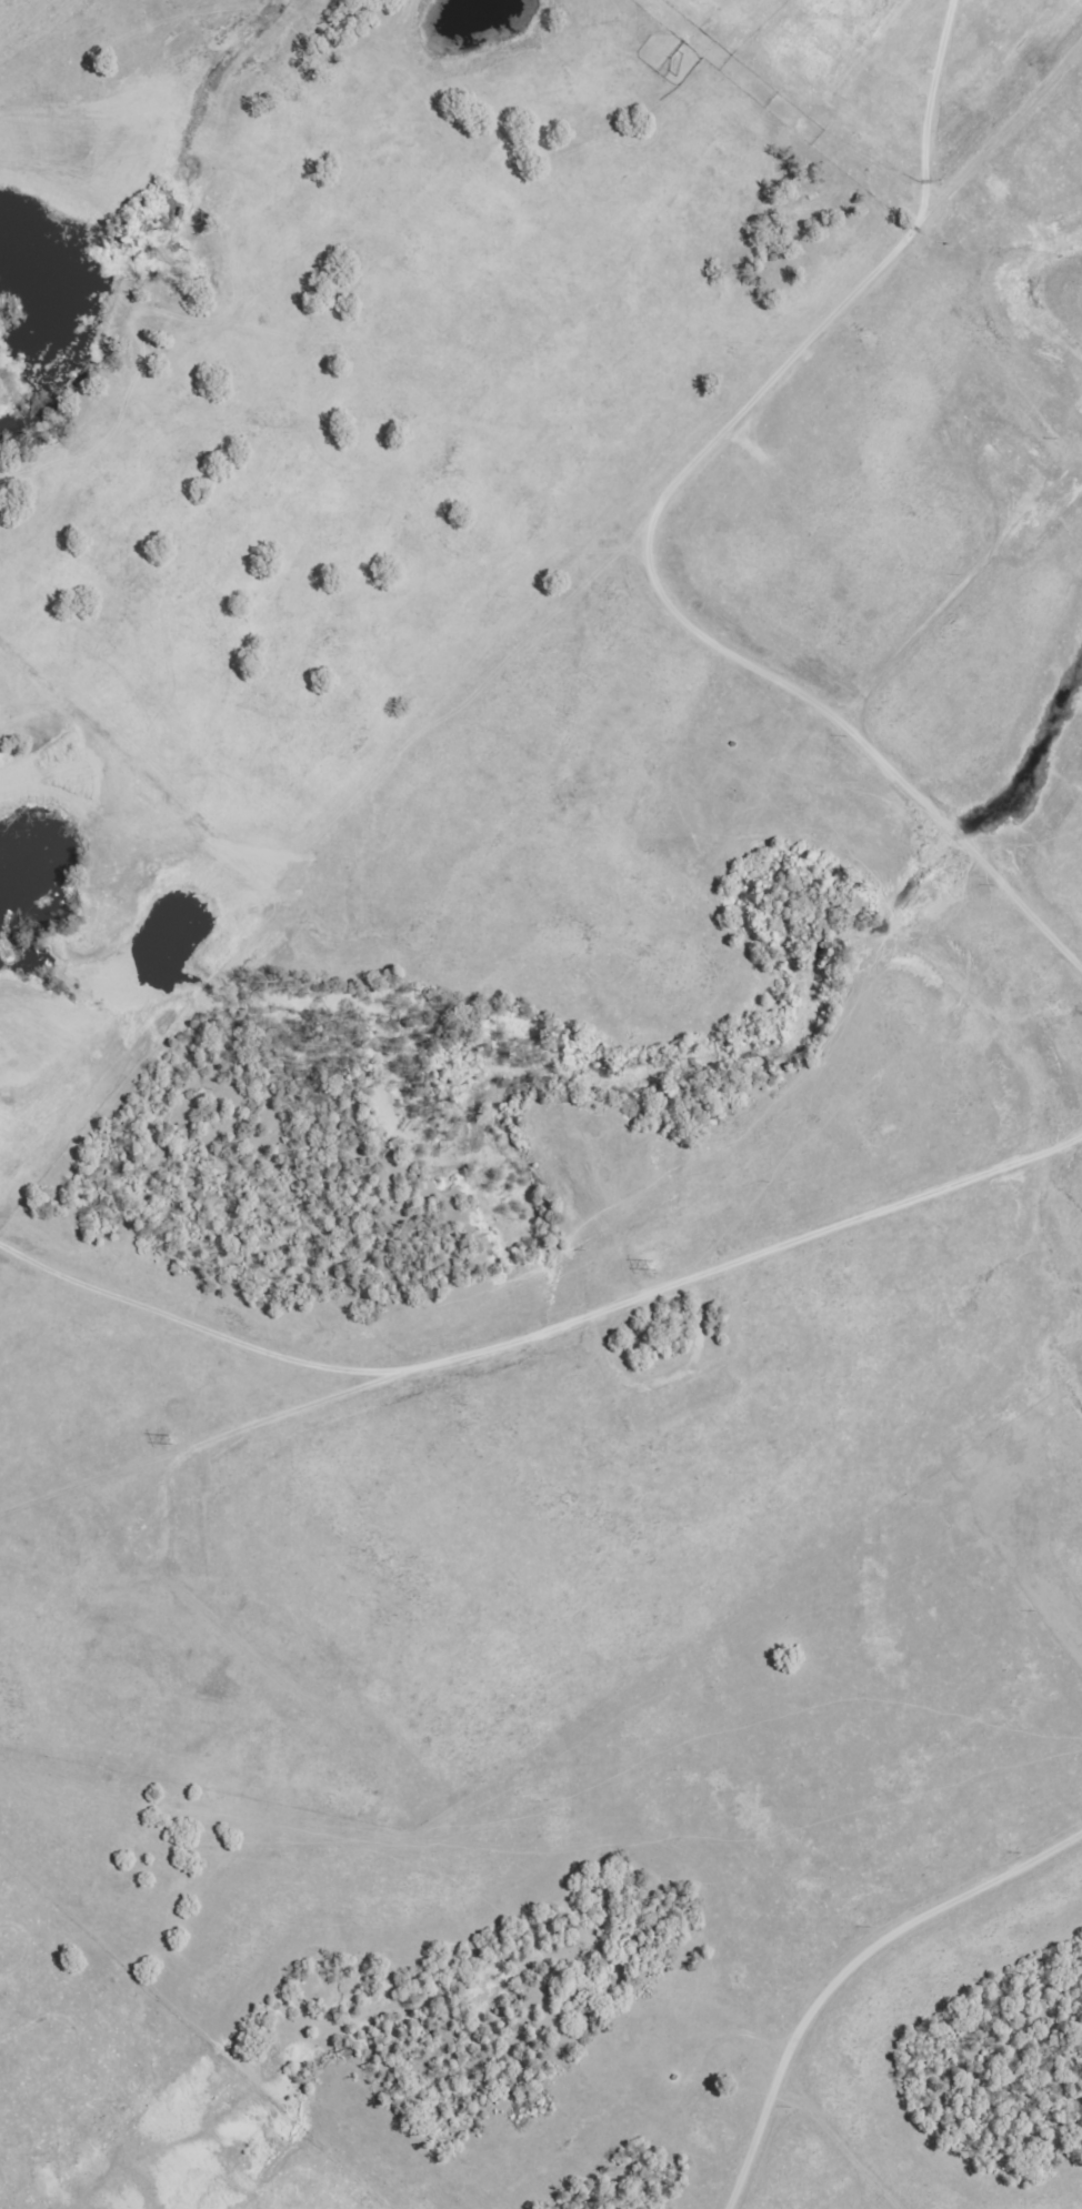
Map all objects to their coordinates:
road: (653, 519)
road: (950, 600)
power tower: (660, 1269)
road: (582, 1318)
road: (203, 1329)
power tower: (169, 1445)
road: (848, 1962)
road: (784, 2067)

